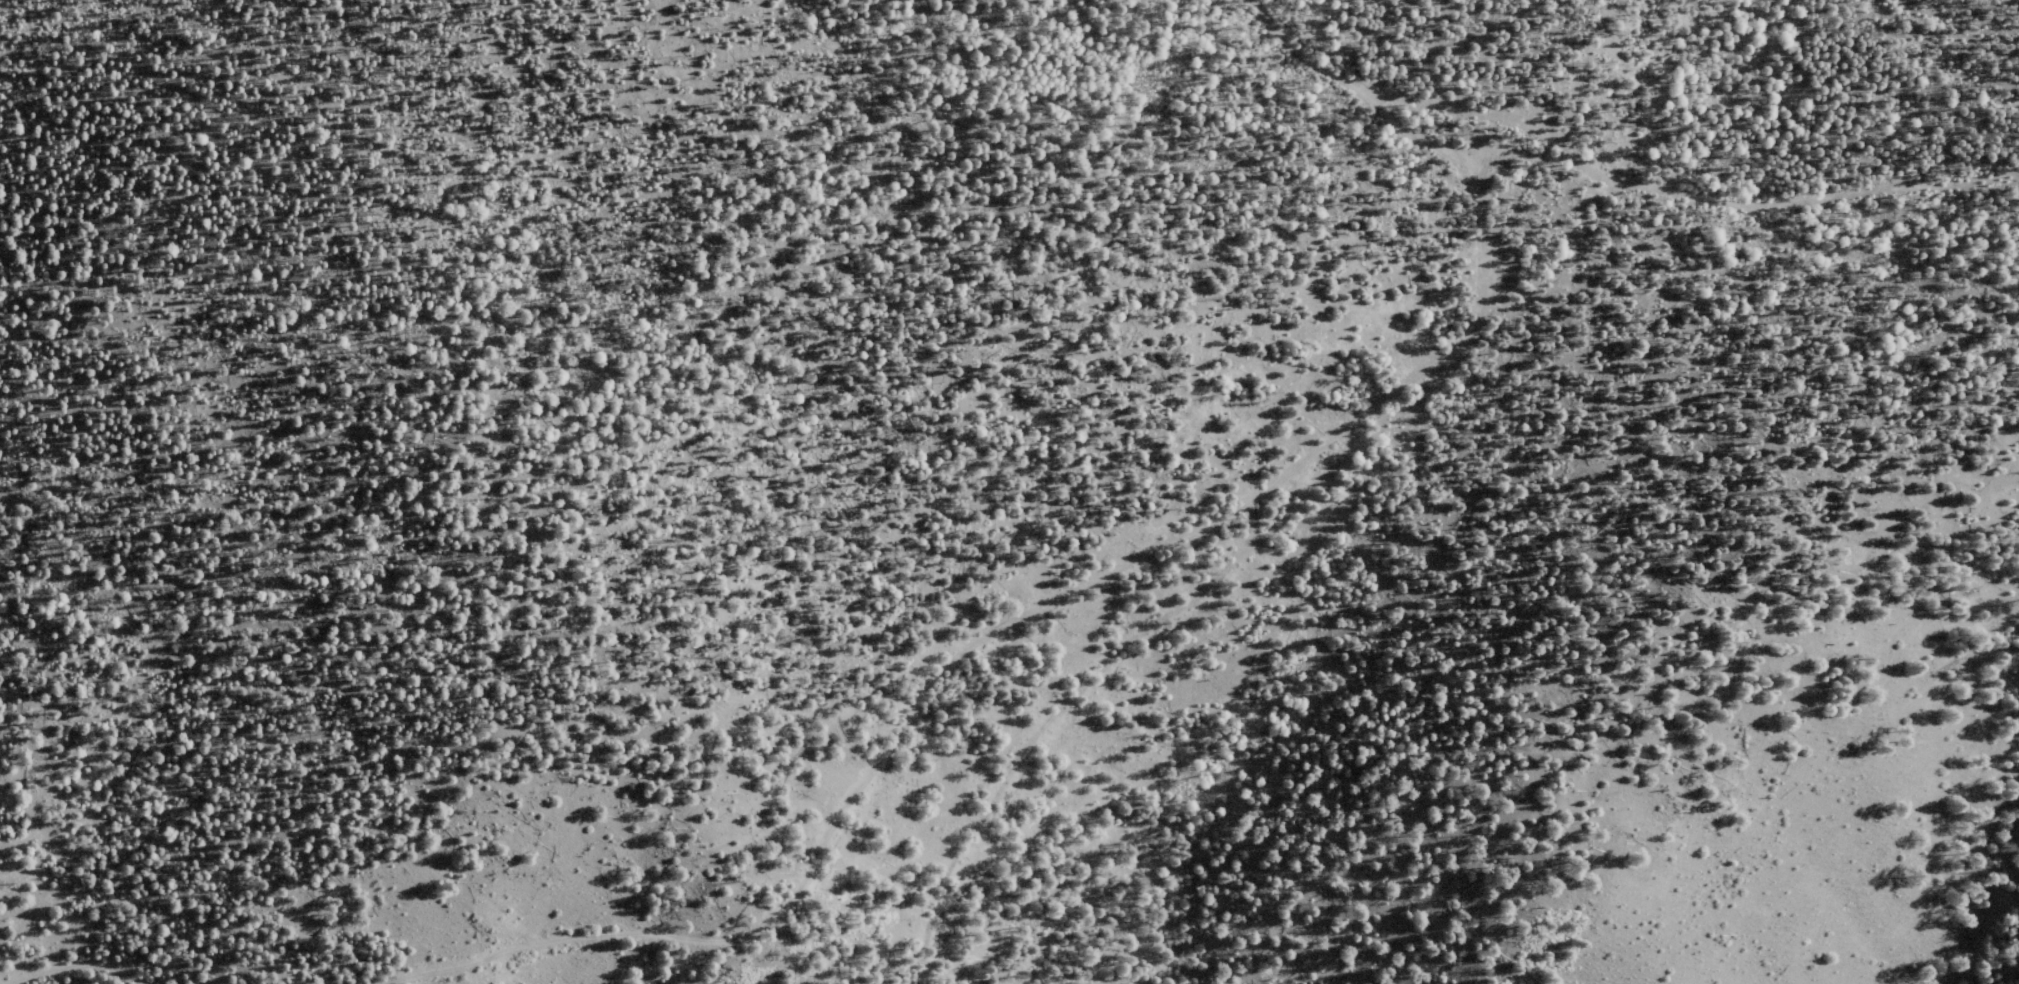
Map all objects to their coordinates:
road: (1157, 584)

